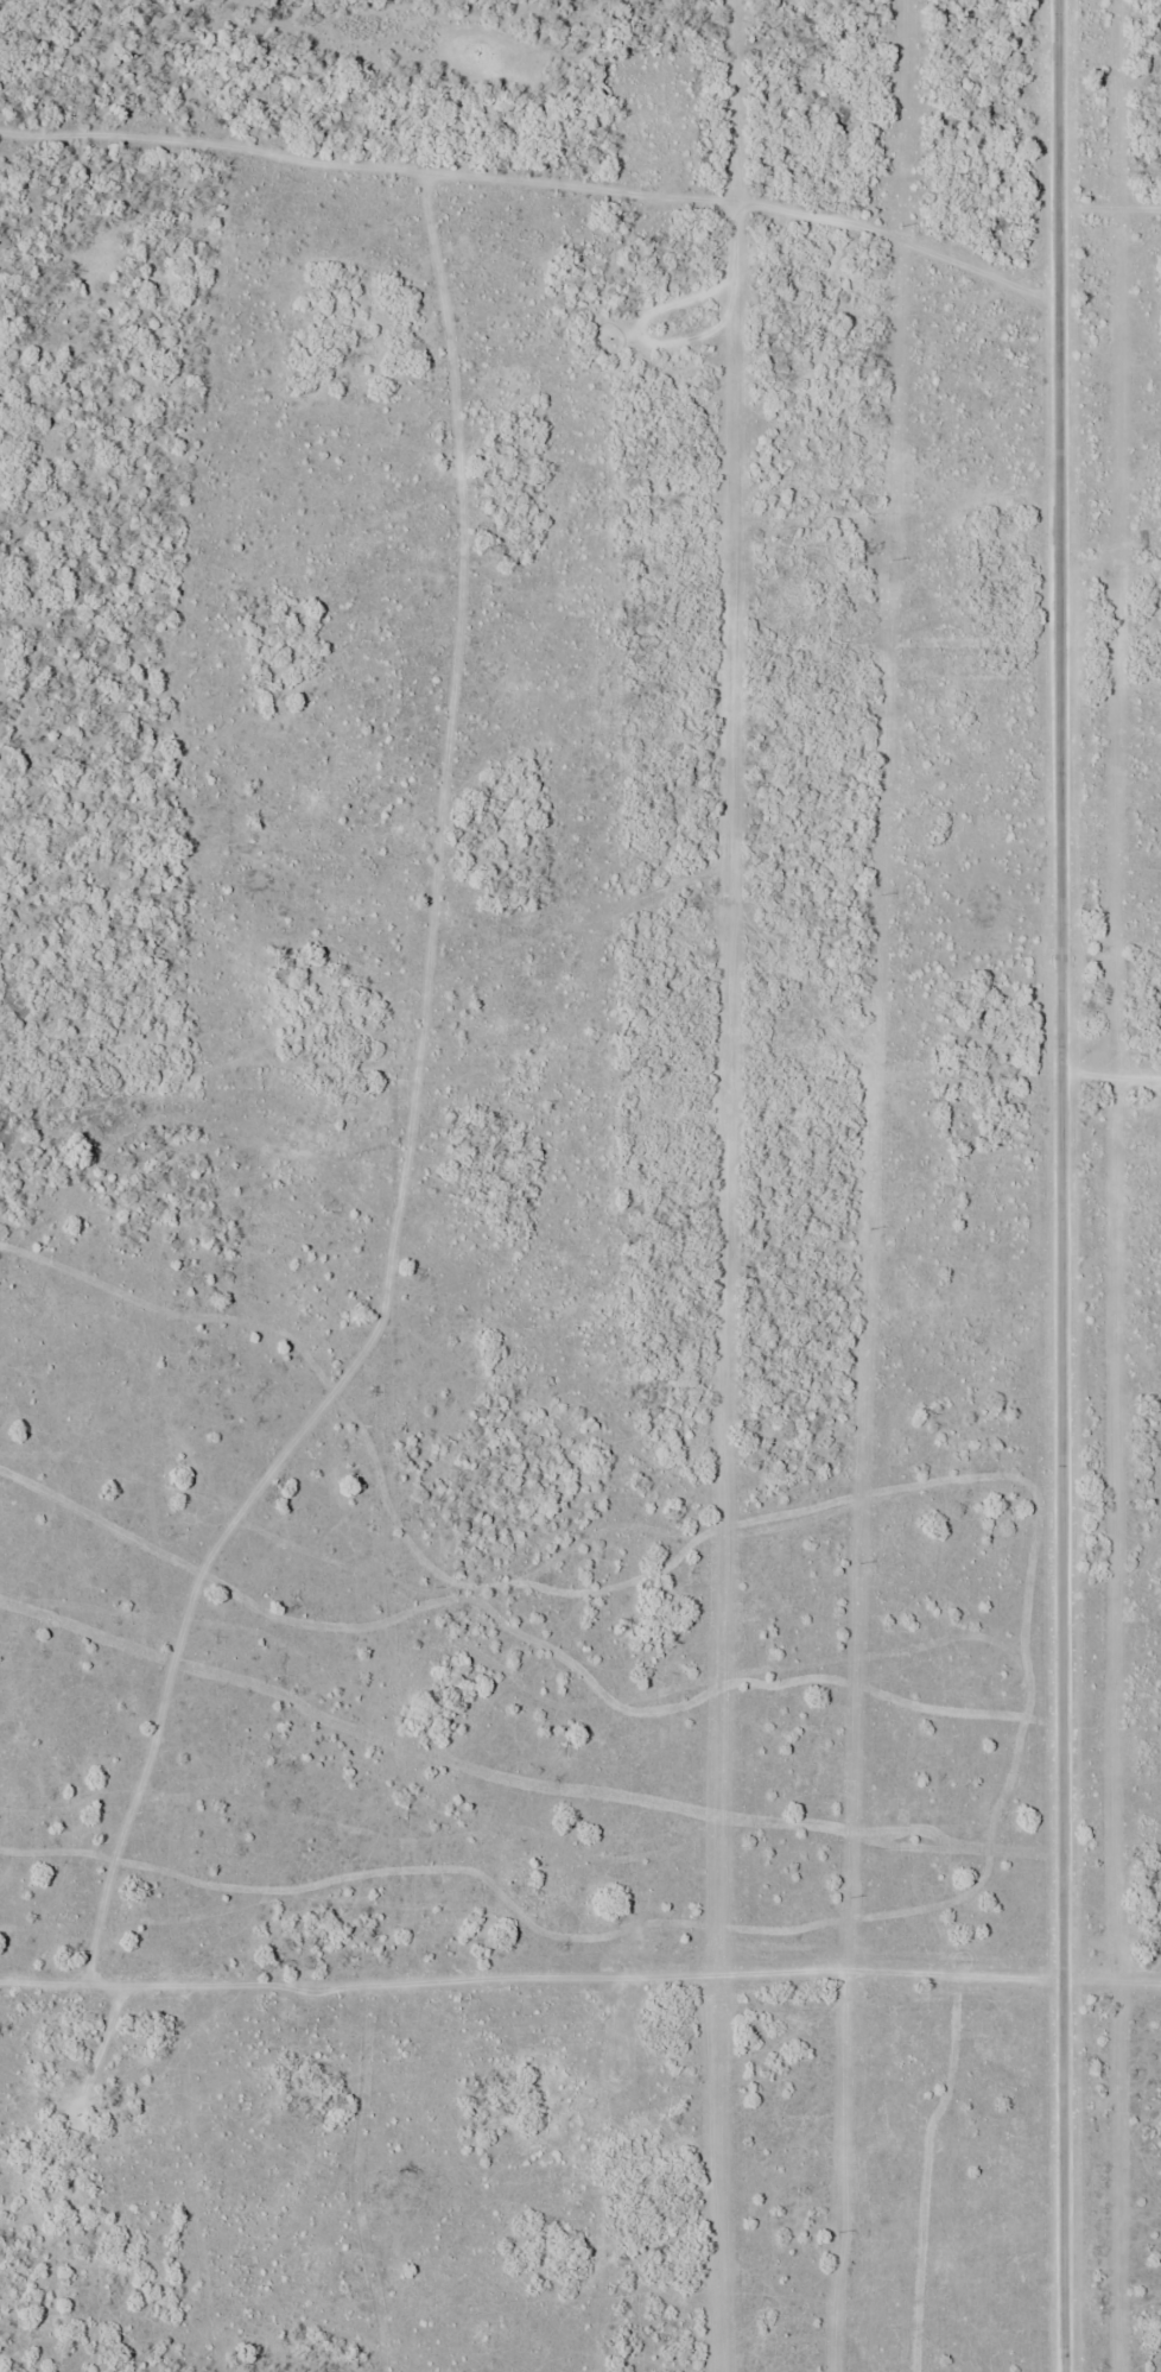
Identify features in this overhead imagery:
road: (1081, 1184)

